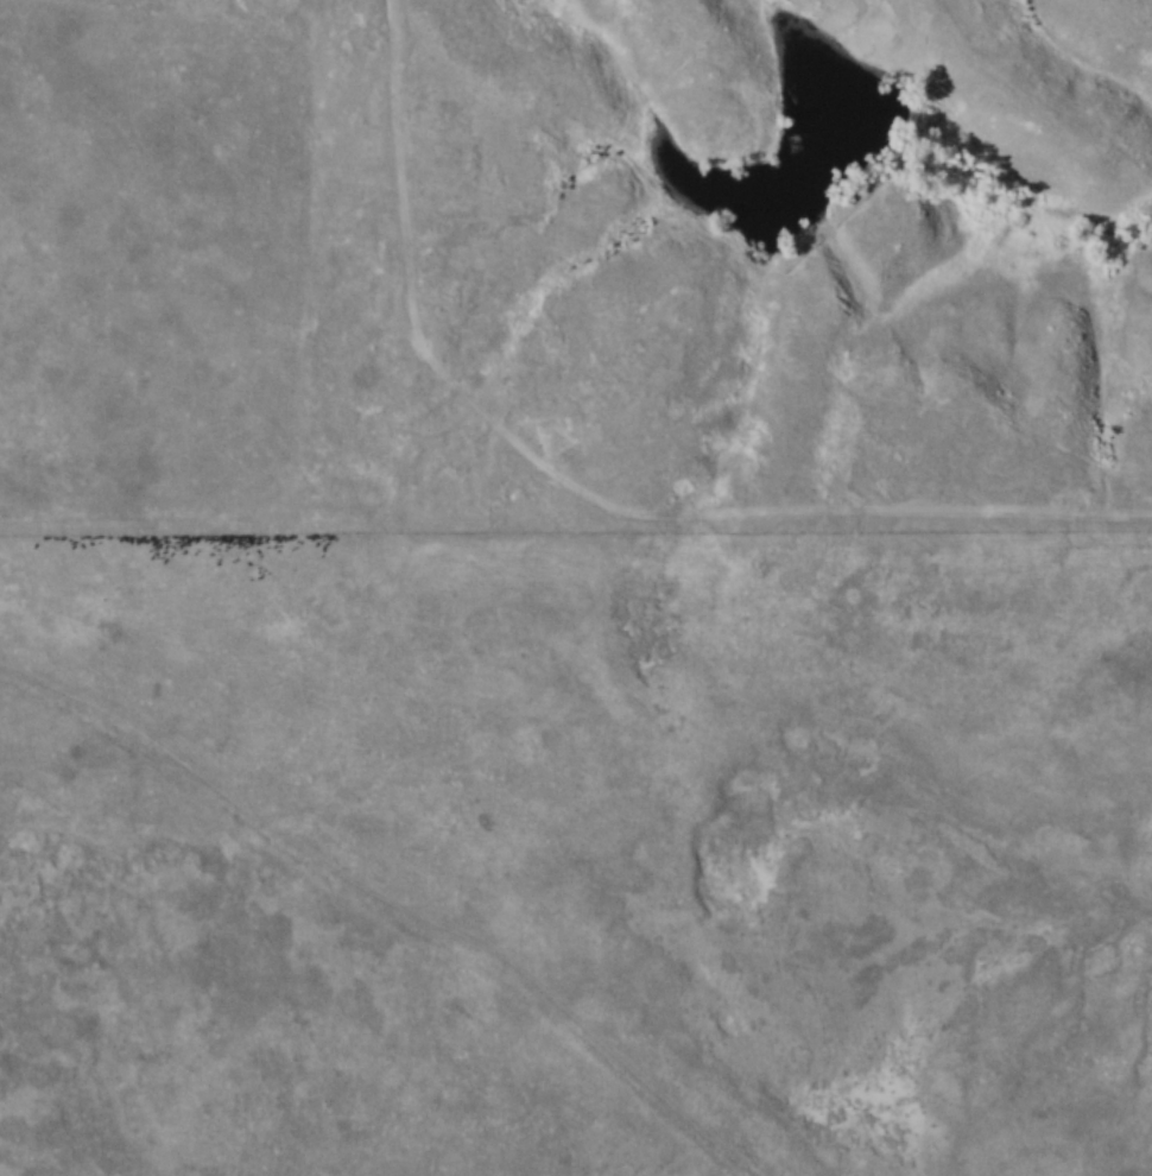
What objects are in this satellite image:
road: (435, 890)

